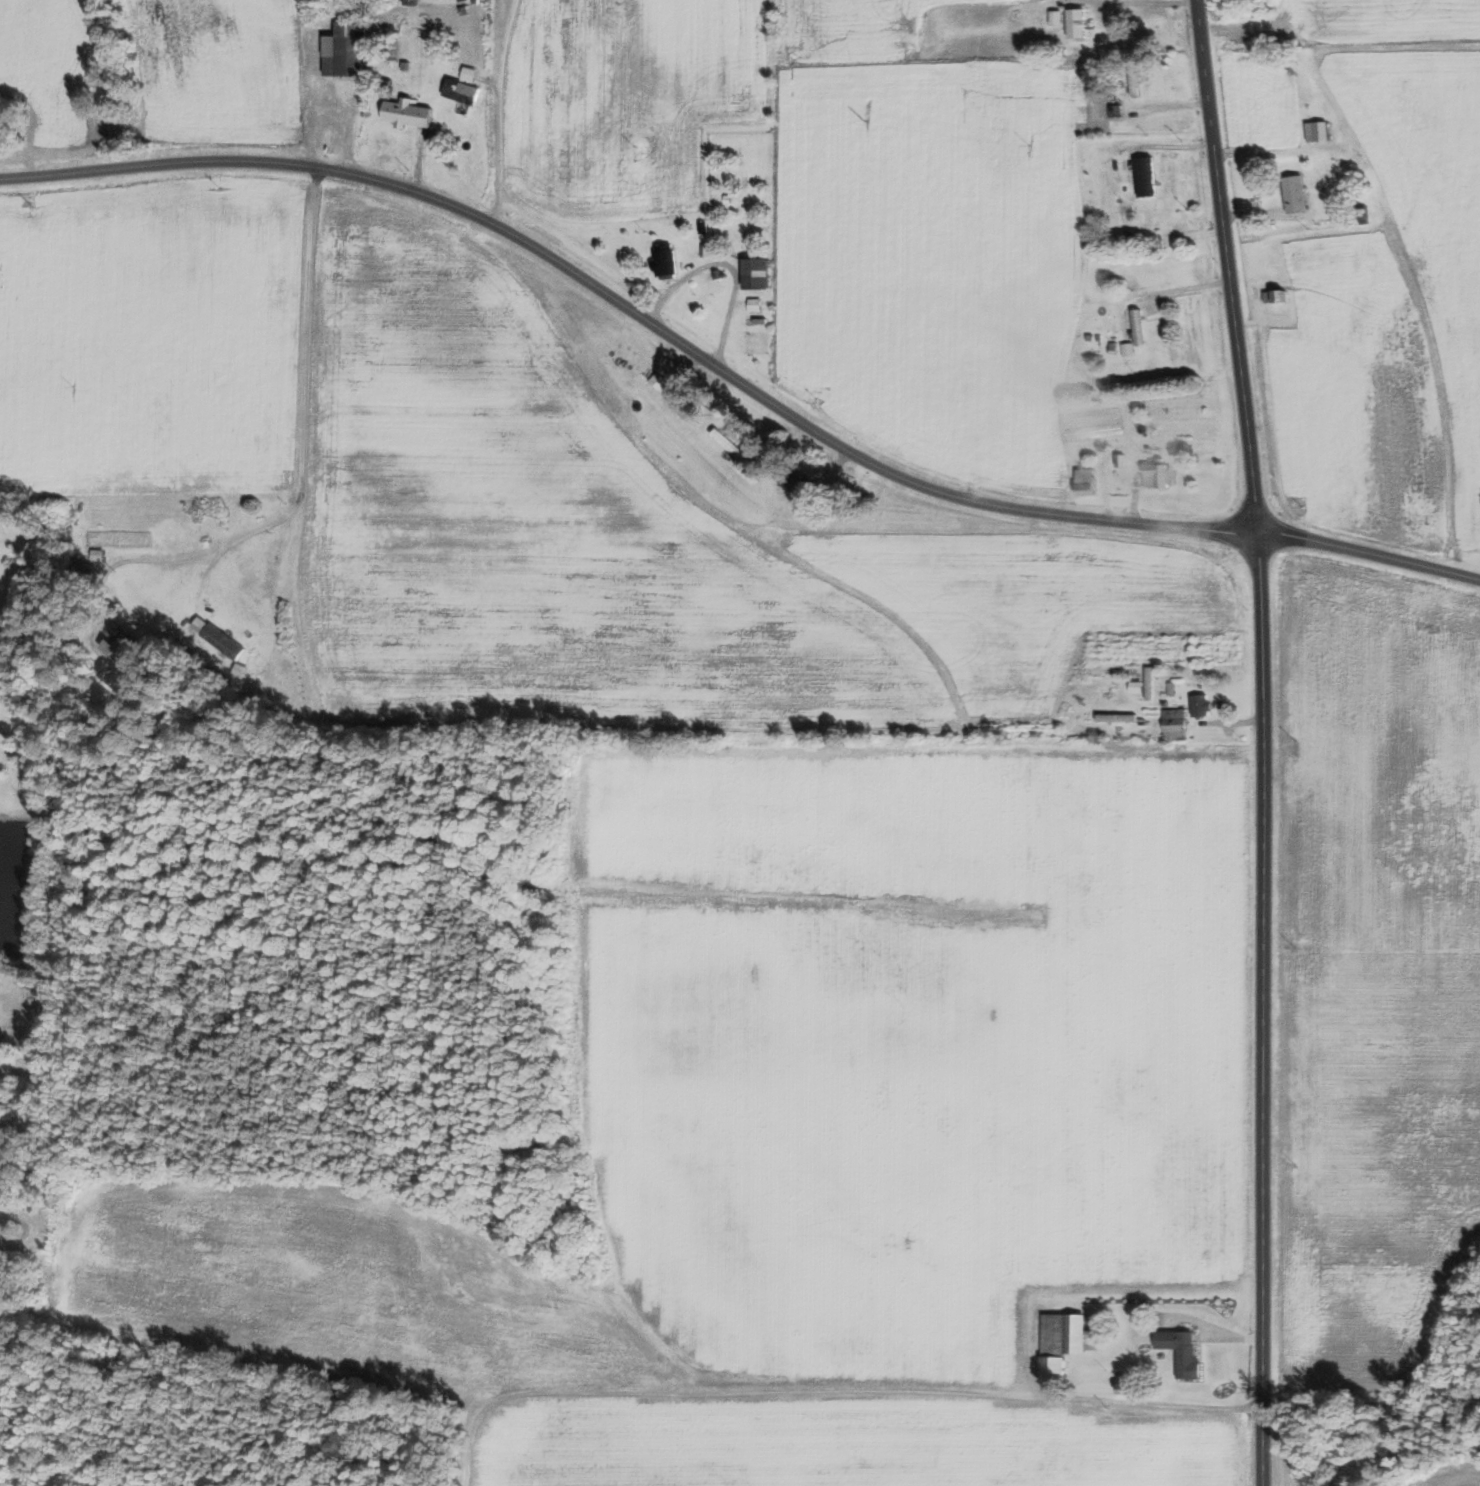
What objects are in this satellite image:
building: (412, 2)
building: (1057, 16)
building: (347, 49)
building: (1135, 80)
building: (463, 90)
building: (409, 112)
road: (501, 113)
building: (1318, 130)
building: (1147, 175)
building: (1296, 193)
building: (666, 259)
road: (728, 266)
building: (758, 272)
building: (1278, 299)
building: (756, 304)
building: (1138, 326)
building: (1127, 348)
road: (734, 376)
road: (306, 422)
building: (1160, 475)
building: (798, 481)
building: (1088, 481)
building: (224, 642)
building: (124, 649)
building: (1150, 683)
building: (1201, 705)
building: (1175, 724)
road: (1259, 741)
building: (1062, 1342)
building: (1182, 1351)
road: (783, 1395)

